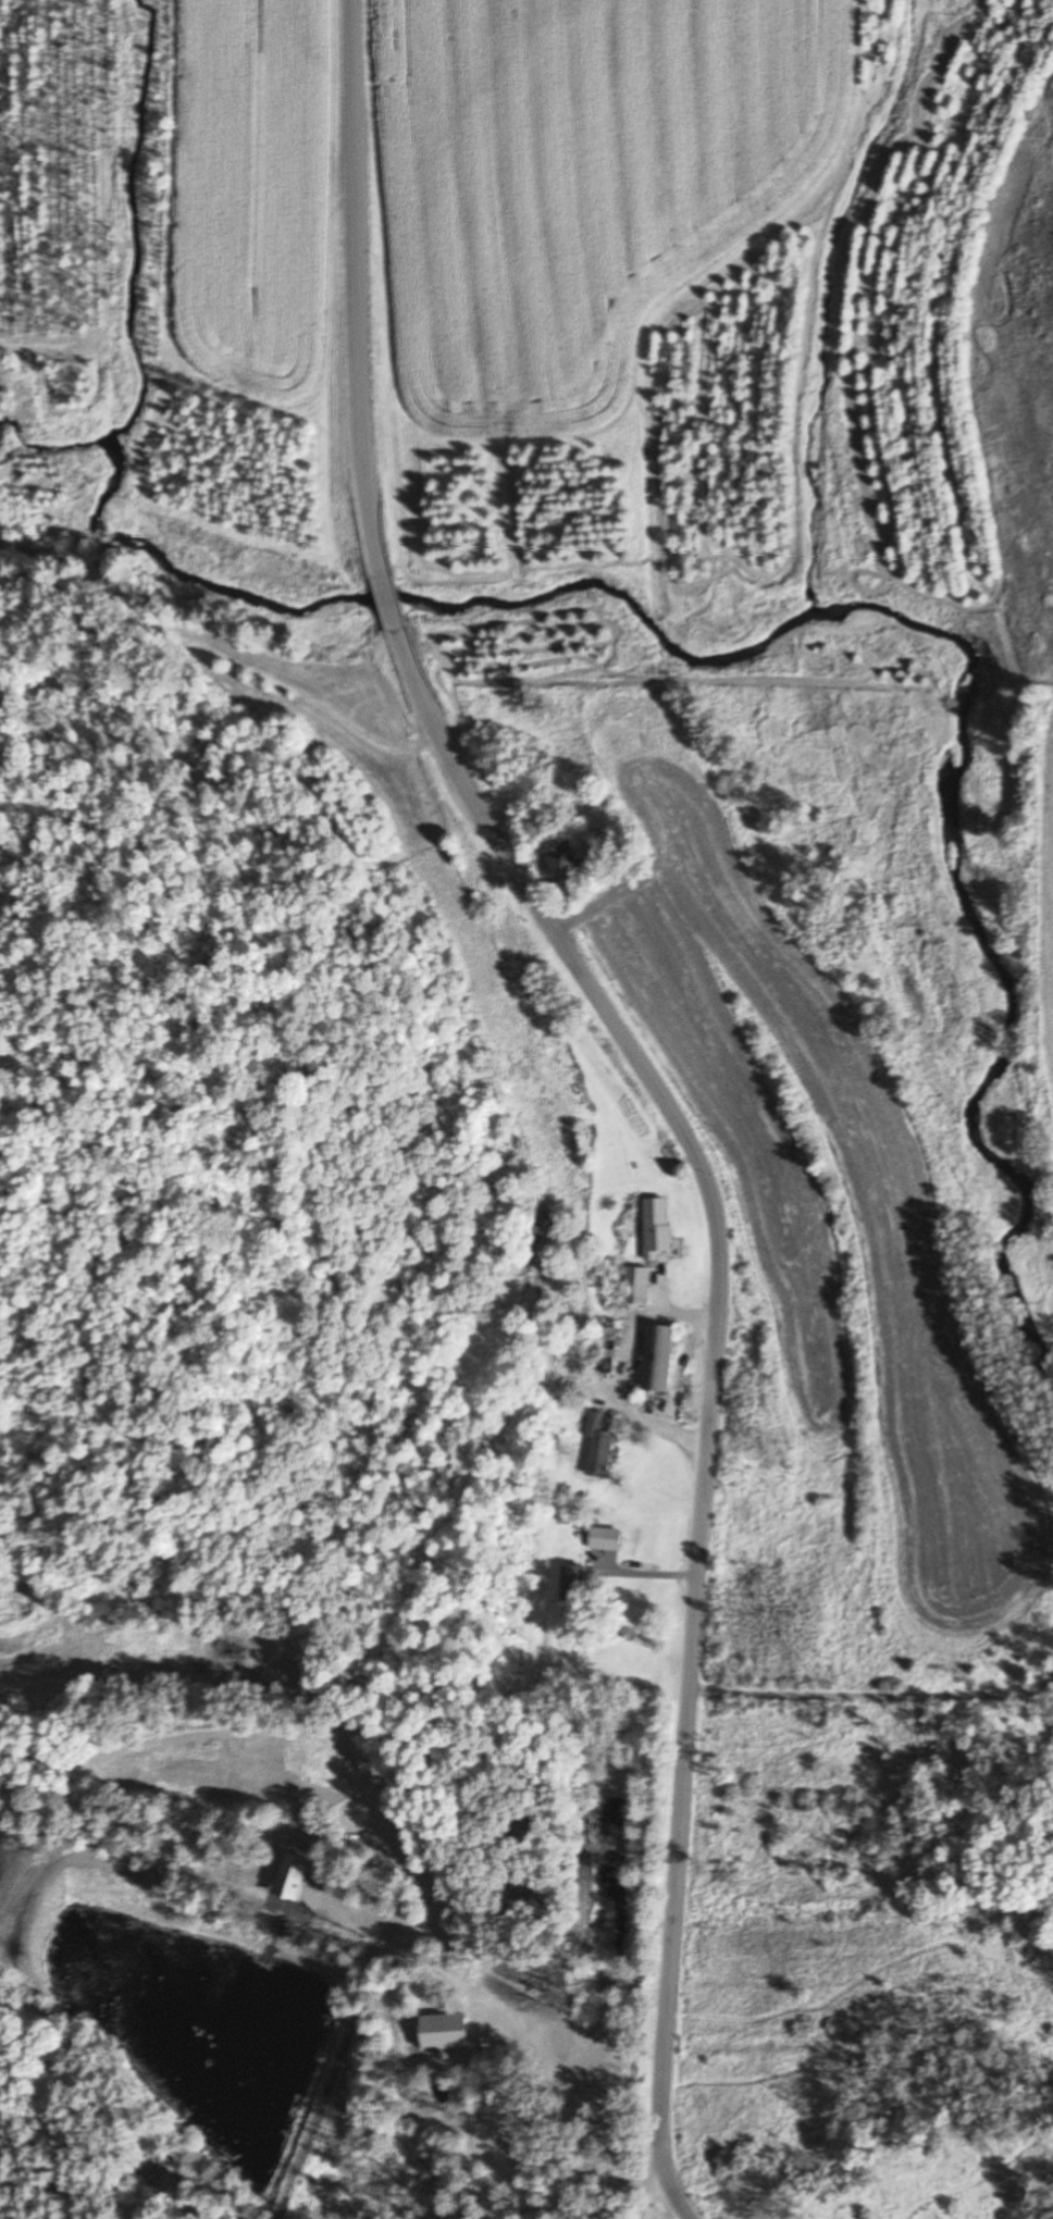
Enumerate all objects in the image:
road: (355, 288)
road: (388, 603)
building: (567, 860)
building: (549, 1228)
building: (657, 1228)
building: (636, 1286)
building: (603, 1349)
building: (658, 1358)
road: (710, 1385)
building: (597, 1446)
building: (605, 1539)
road: (871, 1694)
building: (506, 1993)
building: (559, 2035)
dam: (313, 2109)
building: (509, 2127)
road: (651, 2194)

